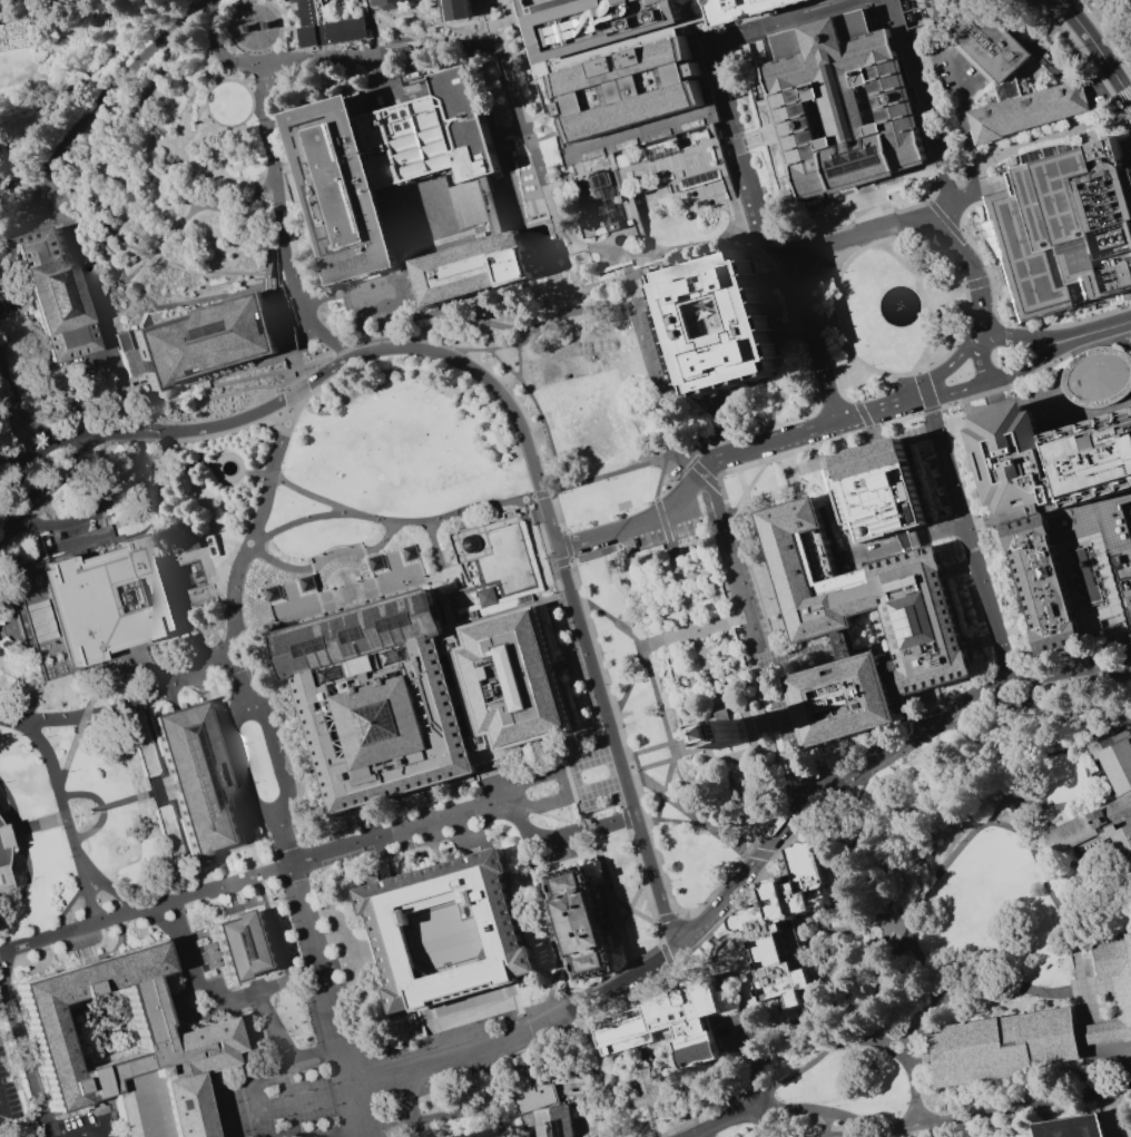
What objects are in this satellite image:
building: (291, 0)
building: (387, 2)
road: (508, 3)
road: (509, 6)
road: (695, 7)
road: (484, 8)
road: (518, 9)
building: (746, 9)
building: (456, 10)
road: (412, 18)
road: (1128, 18)
road: (695, 21)
road: (778, 21)
road: (462, 22)
road: (489, 22)
road: (931, 23)
road: (493, 24)
building: (267, 26)
building: (326, 27)
road: (373, 27)
road: (257, 28)
building: (602, 28)
building: (247, 29)
road: (736, 29)
road: (916, 29)
road: (417, 30)
road: (258, 32)
road: (1103, 38)
road: (1098, 48)
road: (697, 51)
road: (522, 52)
road: (1086, 52)
road: (315, 60)
road: (236, 72)
road: (504, 72)
road: (549, 79)
building: (1012, 79)
building: (633, 87)
road: (258, 101)
road: (923, 104)
road: (484, 105)
building: (840, 105)
road: (544, 107)
road: (139, 108)
road: (1127, 109)
road: (563, 117)
road: (710, 117)
road: (1110, 117)
road: (1127, 121)
road: (240, 122)
building: (464, 122)
road: (1074, 128)
road: (642, 134)
road: (771, 134)
road: (1052, 135)
road: (967, 138)
road: (1039, 138)
building: (405, 141)
road: (1010, 149)
road: (532, 153)
road: (535, 155)
road: (721, 157)
road: (612, 158)
road: (659, 160)
road: (976, 160)
building: (650, 161)
road: (744, 161)
road: (580, 173)
road: (24, 174)
road: (499, 179)
road: (284, 180)
road: (507, 180)
road: (561, 182)
road: (57, 188)
road: (193, 188)
building: (340, 189)
road: (871, 203)
road: (632, 204)
building: (491, 205)
road: (242, 207)
road: (812, 207)
building: (430, 208)
road: (534, 208)
parking lot: (26, 209)
road: (511, 216)
road: (738, 216)
road: (866, 216)
road: (943, 217)
road: (552, 218)
road: (95, 219)
building: (1066, 222)
road: (603, 223)
road: (281, 225)
road: (488, 227)
road: (877, 227)
road: (994, 227)
road: (499, 228)
road: (442, 241)
road: (539, 241)
road: (771, 243)
road: (708, 246)
road: (599, 247)
road: (554, 254)
road: (807, 255)
road: (147, 256)
road: (543, 257)
road: (271, 258)
road: (409, 258)
road: (531, 261)
road: (669, 261)
building: (472, 267)
road: (629, 269)
road: (208, 272)
road: (134, 273)
road: (973, 273)
road: (784, 276)
road: (985, 281)
road: (651, 284)
road: (635, 285)
road: (971, 285)
road: (584, 288)
building: (50, 293)
road: (197, 297)
road: (322, 297)
road: (659, 297)
road: (1124, 297)
road: (642, 302)
road: (20, 303)
road: (293, 305)
fountain: (899, 308)
road: (1010, 312)
road: (423, 313)
road: (275, 315)
road: (996, 316)
road: (282, 317)
road: (294, 320)
road: (629, 320)
road: (486, 321)
road: (989, 322)
building: (756, 323)
road: (274, 326)
road: (827, 326)
road: (819, 330)
road: (1098, 330)
road: (809, 332)
road: (1125, 334)
road: (276, 335)
road: (787, 336)
road: (1021, 337)
road: (1130, 344)
building: (204, 345)
road: (350, 347)
road: (493, 350)
building: (1004, 350)
road: (374, 352)
road: (1, 353)
road: (338, 353)
road: (829, 359)
road: (981, 360)
road: (1054, 360)
road: (1, 361)
road: (935, 363)
road: (1026, 363)
road: (315, 364)
road: (521, 364)
road: (951, 366)
road: (653, 374)
road: (228, 376)
building: (1096, 376)
road: (298, 379)
road: (683, 379)
road: (921, 383)
road: (663, 384)
road: (989, 384)
road: (1045, 385)
road: (16, 389)
road: (992, 390)
road: (838, 391)
road: (955, 391)
road: (828, 394)
road: (977, 395)
road: (815, 396)
road: (869, 396)
road: (680, 398)
road: (818, 398)
road: (191, 400)
road: (832, 401)
road: (951, 403)
road: (965, 405)
road: (1062, 406)
road: (881, 408)
road: (930, 410)
road: (539, 412)
road: (968, 413)
road: (14, 414)
road: (864, 414)
road: (515, 415)
road: (230, 423)
road: (770, 424)
road: (934, 429)
road: (842, 437)
road: (874, 437)
road: (46, 439)
road: (866, 448)
road: (62, 455)
road: (685, 457)
building: (1011, 457)
road: (961, 458)
building: (1093, 462)
road: (200, 463)
road: (697, 467)
road: (741, 467)
road: (787, 469)
road: (258, 473)
road: (663, 478)
road: (695, 481)
road: (711, 481)
road: (229, 482)
road: (697, 487)
road: (746, 491)
building: (878, 491)
road: (200, 496)
road: (314, 496)
road: (534, 504)
road: (661, 504)
road: (95, 506)
road: (464, 511)
road: (557, 511)
road: (1064, 514)
road: (258, 519)
road: (549, 521)
road: (974, 526)
road: (668, 527)
road: (474, 531)
road: (965, 532)
parking lot: (666, 535)
road: (623, 538)
road: (385, 540)
road: (906, 540)
road: (904, 541)
street lamp: (350, 546)
road: (437, 547)
road: (489, 552)
street lamp: (324, 553)
road: (568, 553)
road: (340, 555)
road: (720, 555)
road: (576, 558)
road: (571, 559)
road: (1109, 560)
road: (281, 561)
road: (765, 562)
road: (999, 563)
road: (962, 567)
road: (745, 568)
building: (1123, 572)
street lamp: (425, 575)
building: (1037, 580)
street lamp: (360, 581)
road: (755, 581)
street lamp: (427, 582)
road: (469, 584)
road: (1012, 588)
building: (1089, 588)
street lamp: (334, 589)
road: (348, 589)
building: (872, 592)
road: (370, 594)
road: (572, 595)
road: (715, 596)
street lamp: (381, 597)
building: (488, 597)
street lamp: (365, 601)
building: (98, 605)
street lamp: (340, 609)
street lamp: (324, 614)
road: (748, 616)
road: (1015, 621)
road: (464, 623)
street lamp: (278, 629)
road: (702, 629)
road: (245, 631)
road: (756, 634)
road: (849, 641)
road: (840, 643)
road: (747, 644)
road: (1129, 646)
road: (717, 650)
road: (672, 654)
road: (598, 655)
road: (580, 660)
road: (576, 661)
road: (897, 664)
road: (1069, 675)
road: (711, 680)
building: (509, 684)
road: (632, 684)
road: (657, 689)
building: (848, 693)
road: (568, 696)
building: (381, 700)
road: (125, 703)
road: (212, 710)
road: (81, 716)
road: (724, 718)
road: (767, 724)
road: (588, 727)
road: (753, 728)
road: (927, 729)
building: (729, 734)
road: (906, 735)
road: (616, 747)
road: (1061, 749)
road: (645, 751)
road: (277, 753)
road: (649, 766)
road: (976, 770)
road: (597, 775)
road: (787, 777)
building: (1121, 777)
building: (199, 781)
road: (858, 781)
road: (1000, 788)
road: (150, 792)
road: (156, 792)
road: (507, 796)
road: (748, 797)
road: (853, 797)
road: (119, 802)
road: (663, 802)
road: (1088, 803)
road: (569, 804)
road: (1091, 806)
road: (101, 807)
road: (815, 807)
flagpole: (90, 813)
road: (692, 813)
road: (776, 815)
road: (624, 817)
road: (567, 820)
road: (612, 820)
road: (65, 821)
road: (670, 821)
road: (1043, 825)
road: (1009, 827)
road: (20, 830)
road: (1026, 830)
road: (249, 835)
road: (464, 837)
road: (540, 837)
road: (843, 841)
road: (1113, 841)
road: (1117, 850)
road: (759, 853)
road: (24, 854)
road: (950, 856)
building: (2, 862)
road: (864, 862)
road: (781, 863)
road: (284, 869)
road: (660, 869)
road: (787, 881)
road: (299, 884)
road: (1052, 889)
road: (893, 890)
road: (118, 894)
road: (638, 898)
road: (614, 901)
road: (795, 901)
road: (66, 905)
road: (1096, 905)
road: (677, 913)
road: (712, 914)
road: (645, 917)
road: (666, 917)
road: (657, 920)
road: (887, 920)
building: (586, 923)
road: (847, 925)
building: (781, 929)
road: (552, 930)
road: (658, 932)
road: (820, 933)
building: (502, 934)
building: (450, 938)
road: (275, 942)
building: (247, 944)
road: (694, 948)
road: (1078, 950)
road: (665, 953)
road: (682, 976)
building: (1118, 976)
road: (868, 977)
road: (872, 983)
road: (845, 984)
road: (637, 987)
road: (757, 989)
road: (214, 992)
road: (977, 992)
road: (883, 1006)
road: (1092, 1006)
road: (594, 1007)
road: (586, 1008)
road: (520, 1009)
road: (554, 1022)
building: (671, 1023)
road: (749, 1029)
building: (1100, 1032)
road: (1103, 1032)
road: (906, 1037)
building: (189, 1042)
street lamp: (426, 1048)
building: (1009, 1048)
road: (593, 1050)
road: (621, 1053)
road: (893, 1055)
road: (24, 1057)
road: (314, 1058)
road: (323, 1059)
road: (1115, 1059)
road: (443, 1060)
road: (648, 1061)
road: (758, 1064)
road: (601, 1067)
road: (799, 1070)
road: (236, 1076)
road: (912, 1080)
street lamp: (331, 1084)
road: (761, 1087)
street lamp: (306, 1089)
parking lot: (8, 1095)
building: (646, 1095)
road: (676, 1095)
street lamp: (282, 1096)
street lamp: (336, 1105)
road: (610, 1106)
road: (1027, 1106)
road: (0, 1109)
street lamp: (311, 1109)
building: (545, 1110)
road: (711, 1111)
street lamp: (287, 1114)
road: (1114, 1114)
road: (843, 1116)
road: (764, 1117)
road: (729, 1118)
road: (412, 1121)
parking lot: (72, 1123)
road: (826, 1125)
building: (1073, 1127)
road: (860, 1135)
road: (357, 1136)

